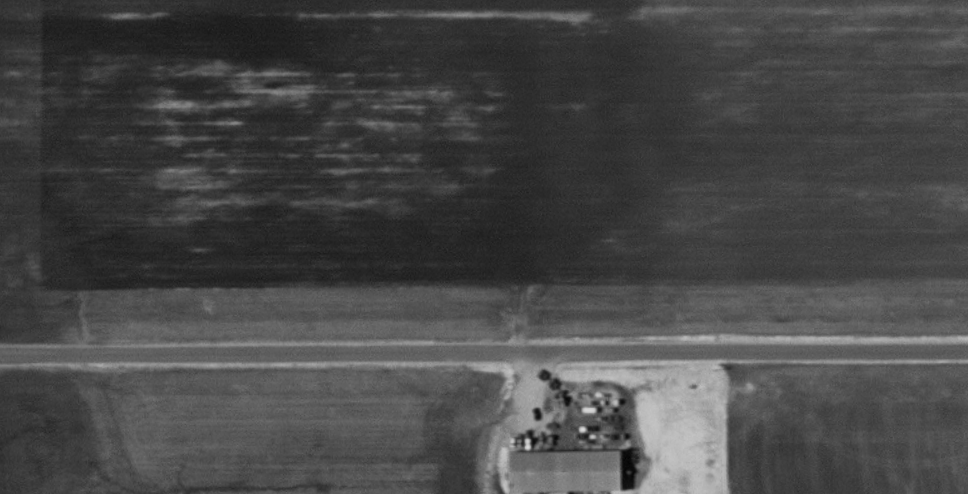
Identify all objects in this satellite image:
road: (483, 357)
road: (529, 387)
building: (563, 470)

